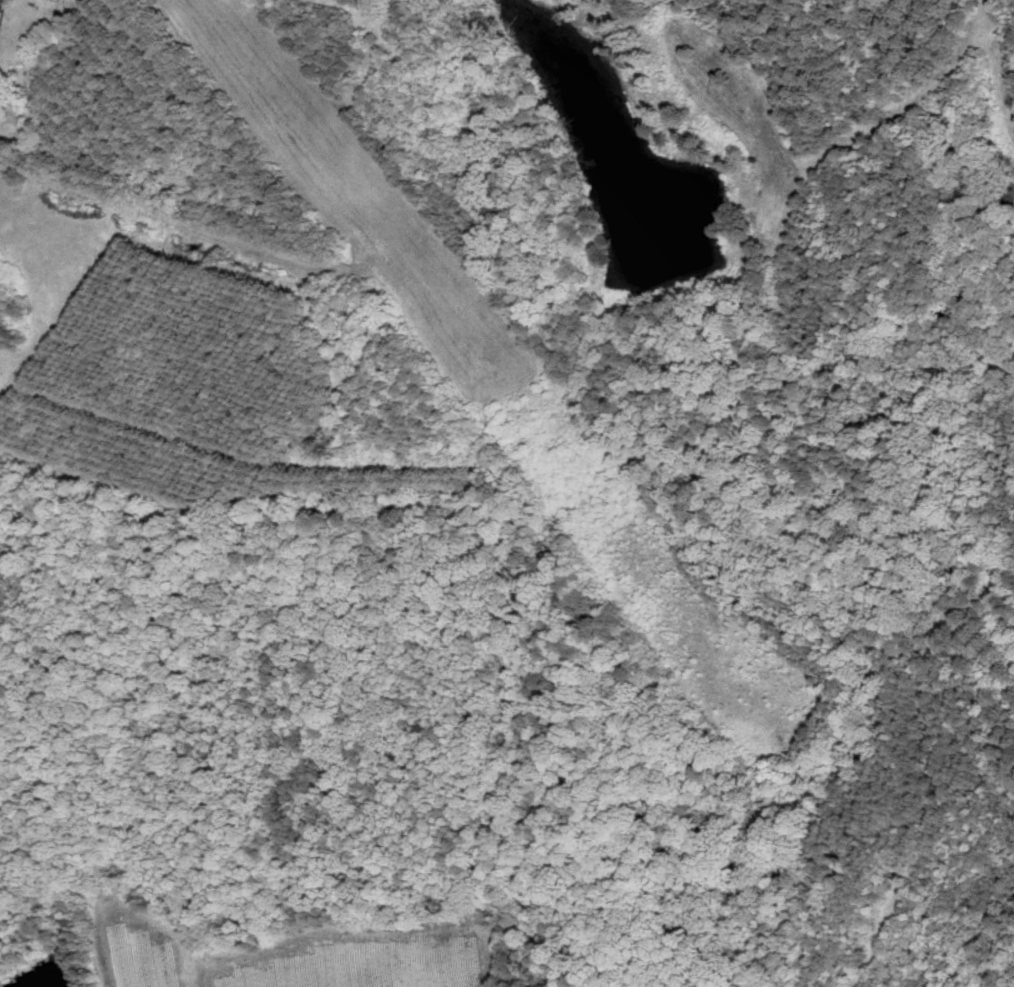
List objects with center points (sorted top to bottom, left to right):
airport runway: (349, 183)

